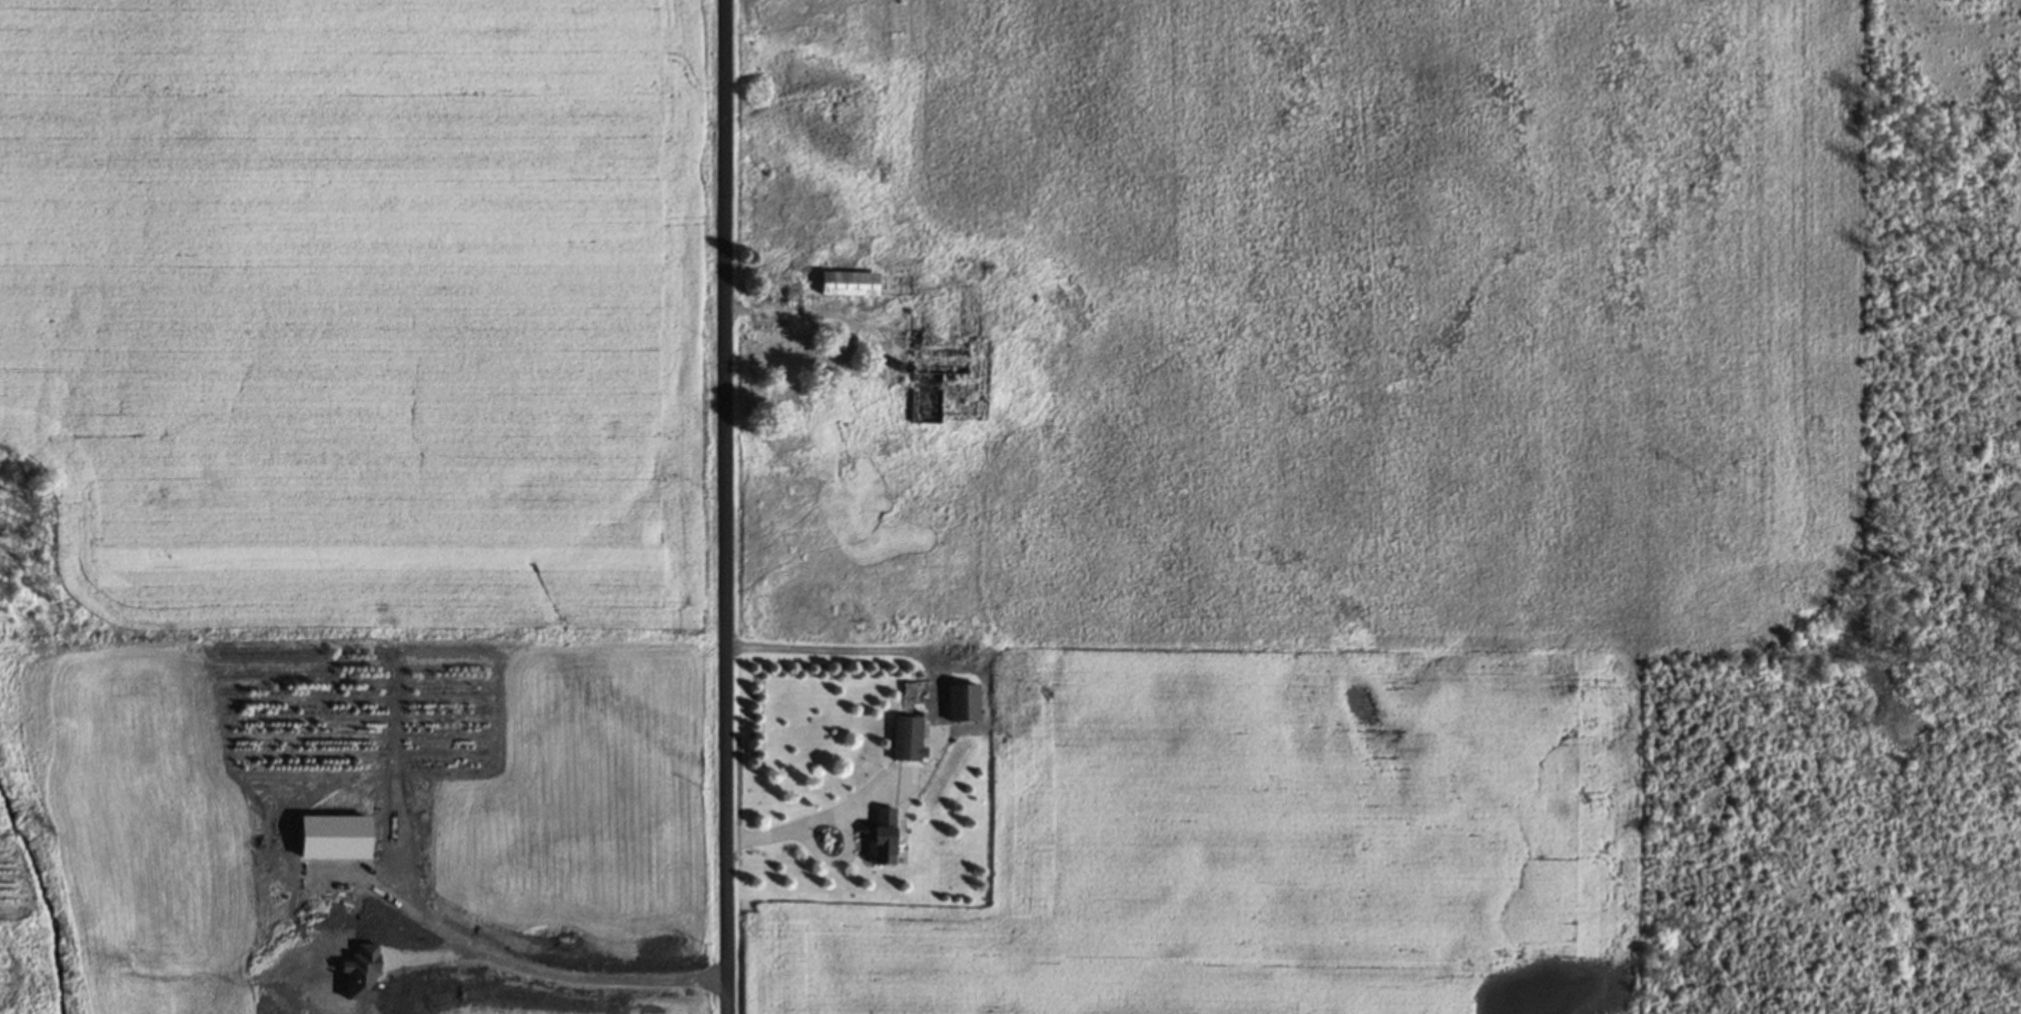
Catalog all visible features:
building: (846, 284)
building: (933, 361)
road: (725, 506)
building: (959, 703)
road: (939, 717)
building: (903, 739)
building: (879, 836)

